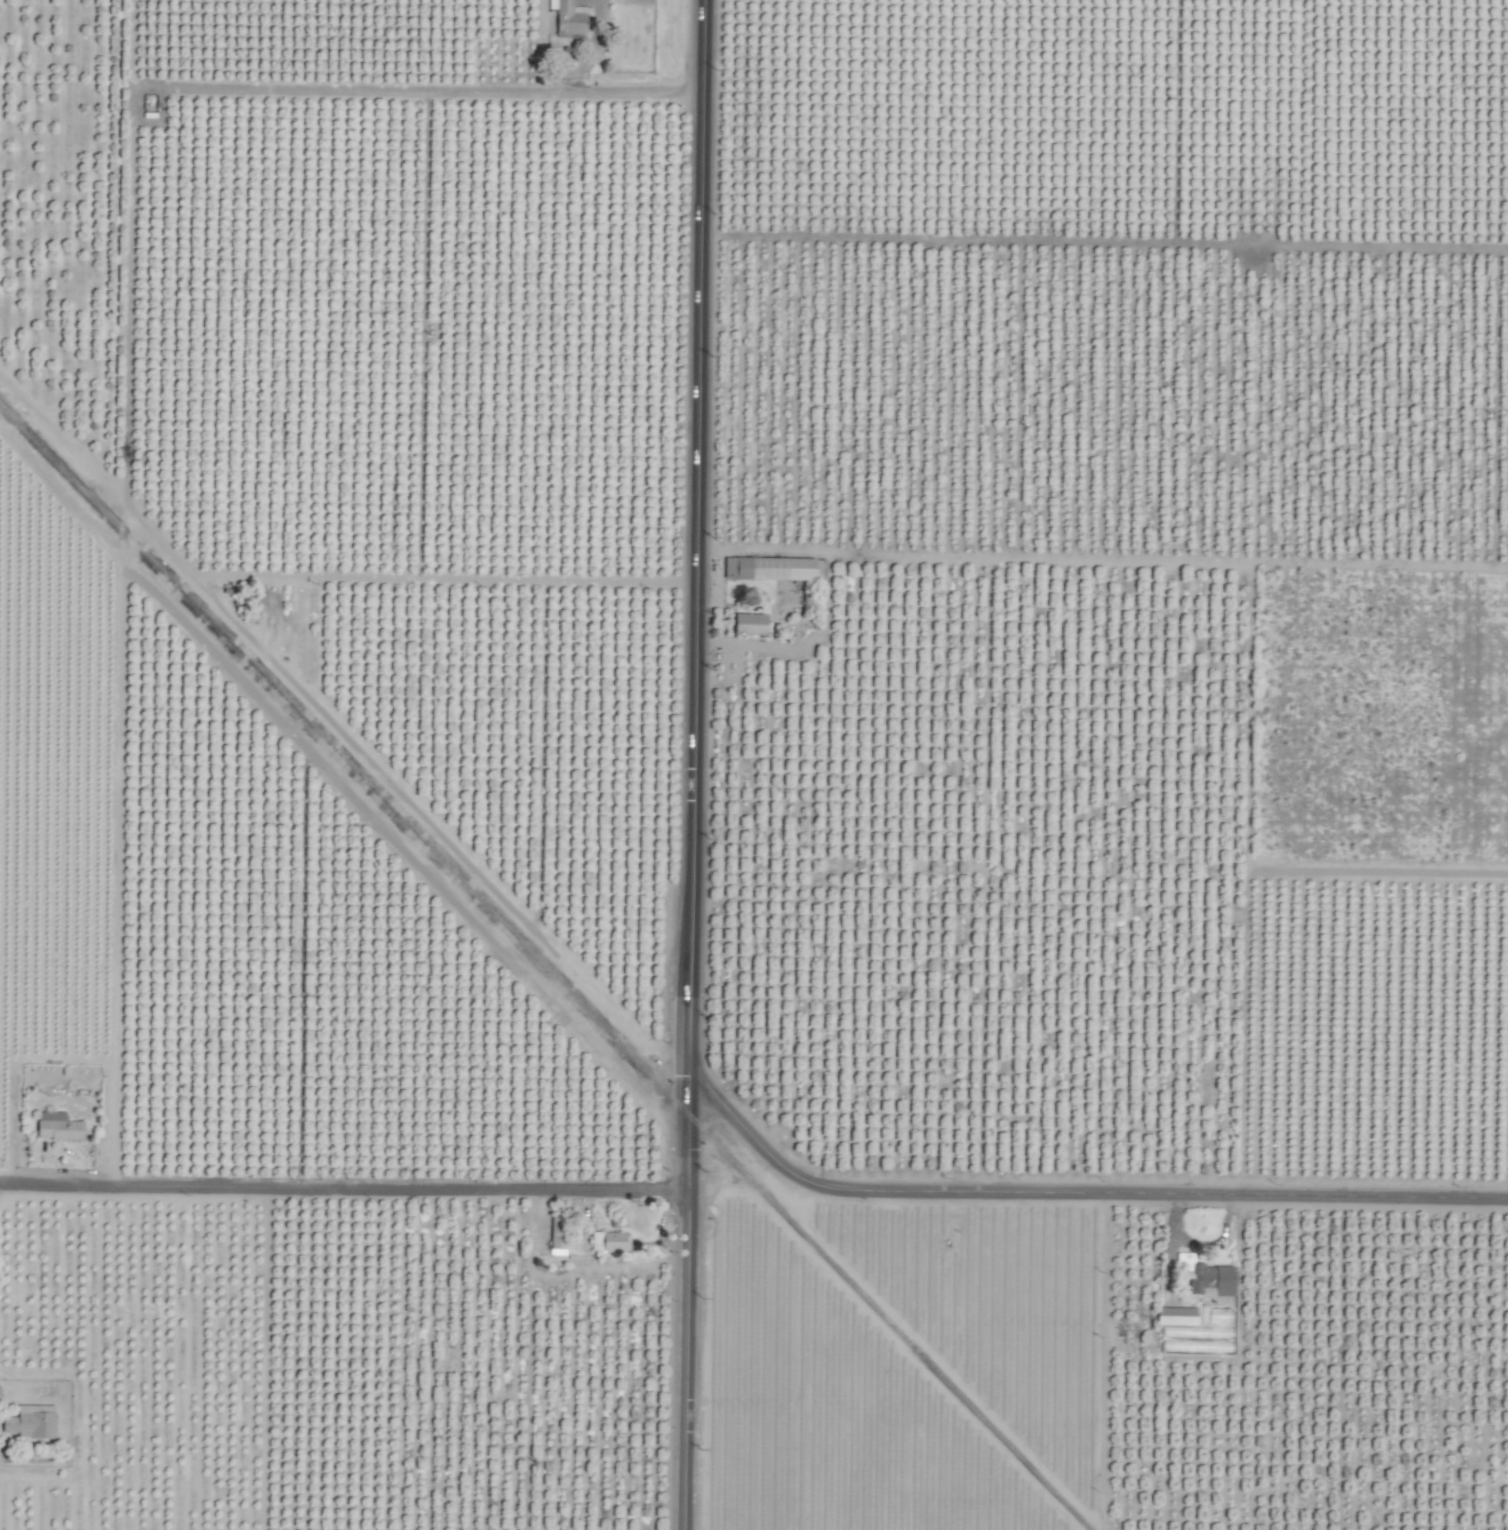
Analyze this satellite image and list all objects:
building: (570, 17)
road: (440, 93)
road: (693, 557)
road: (1100, 560)
building: (778, 572)
building: (752, 624)
crop: (754, 765)
railway: (544, 966)
building: (59, 1127)
road: (343, 1187)
road: (1077, 1200)
building: (559, 1236)
building: (610, 1242)
building: (1207, 1277)
building: (1178, 1317)
road: (685, 1322)
building: (0, 1394)
building: (33, 1422)

